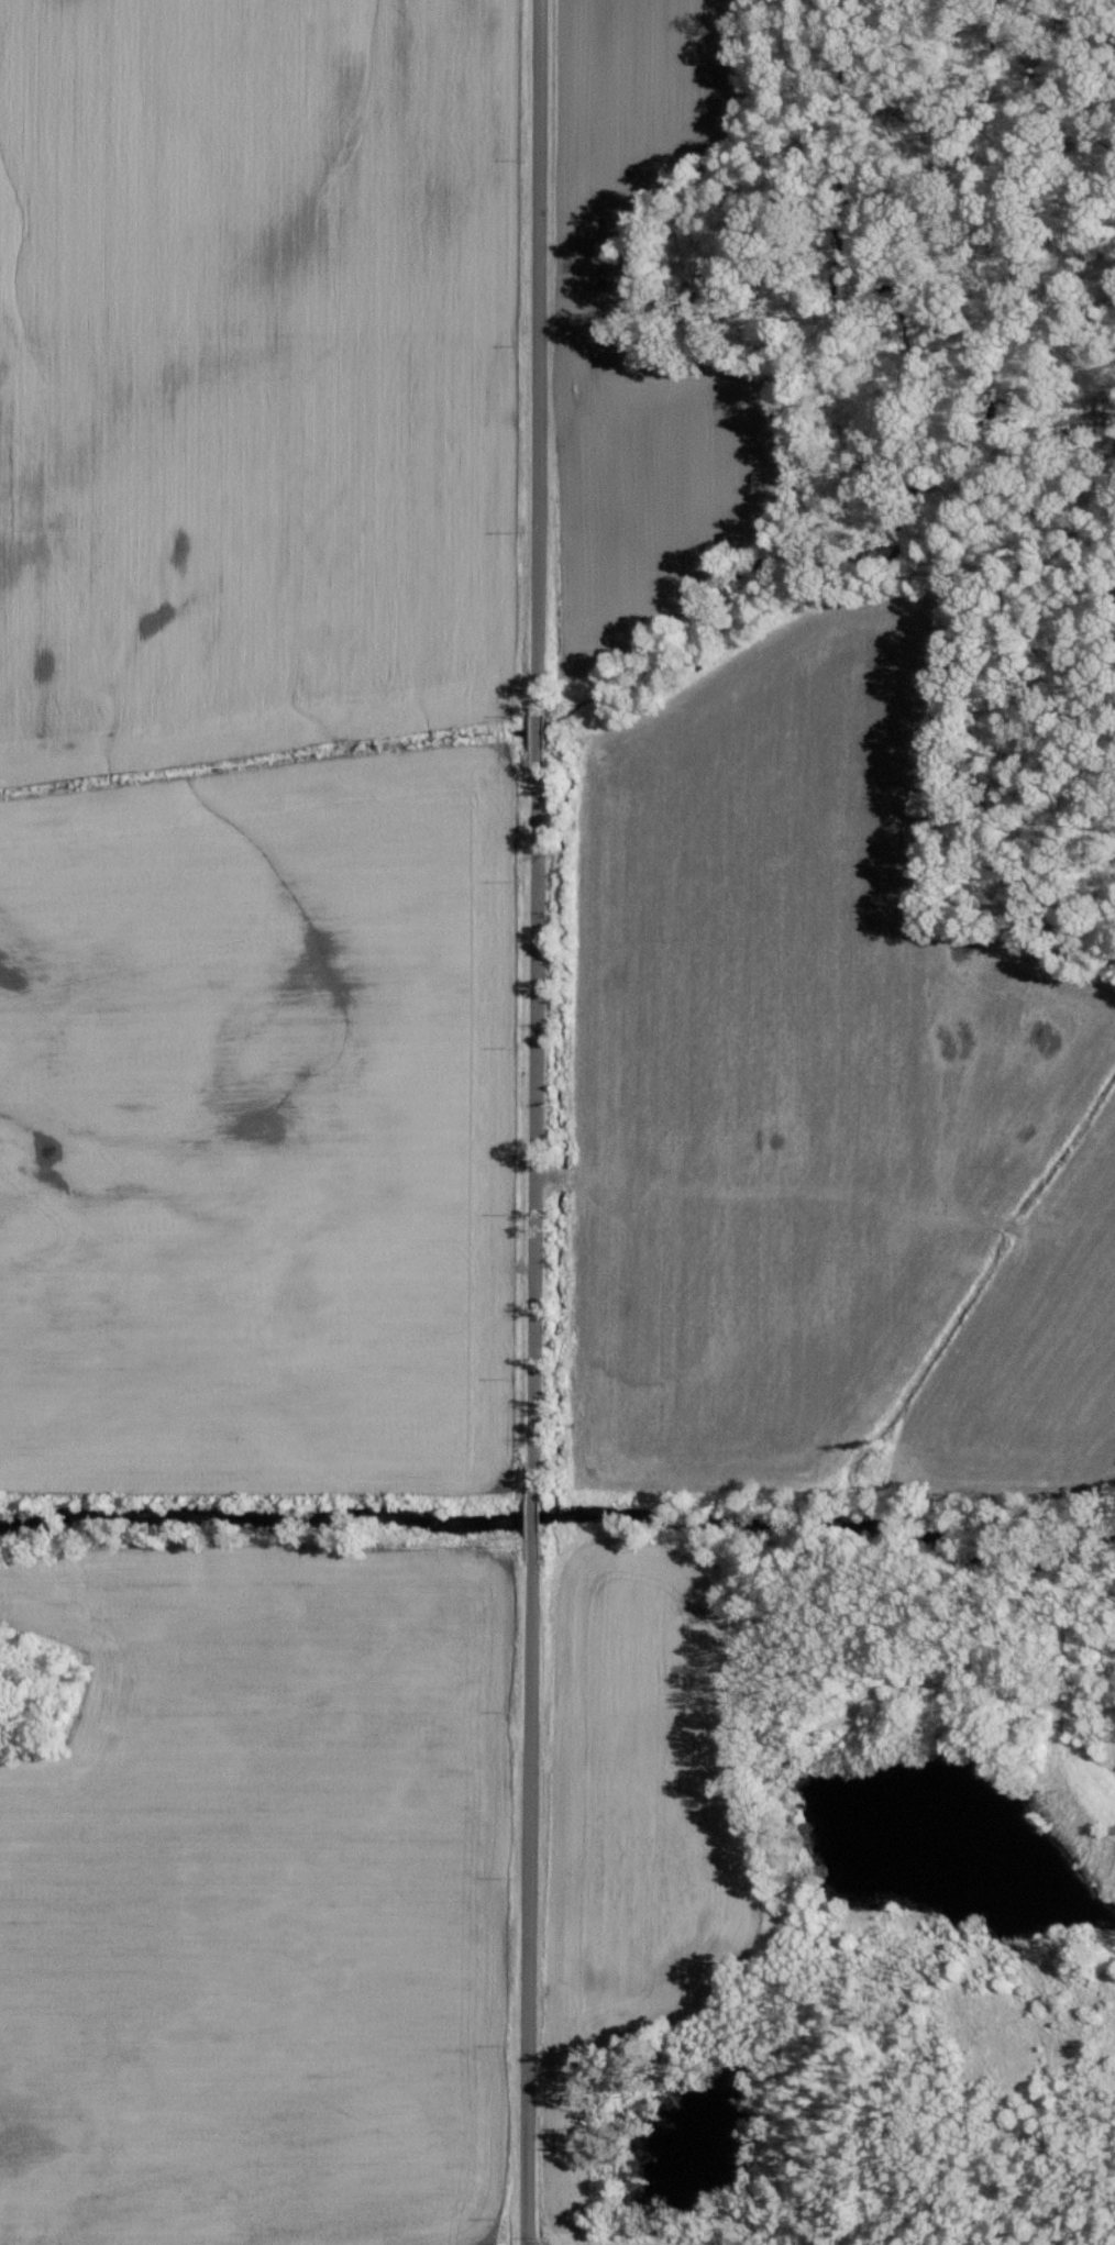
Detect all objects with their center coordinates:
road: (540, 1122)

